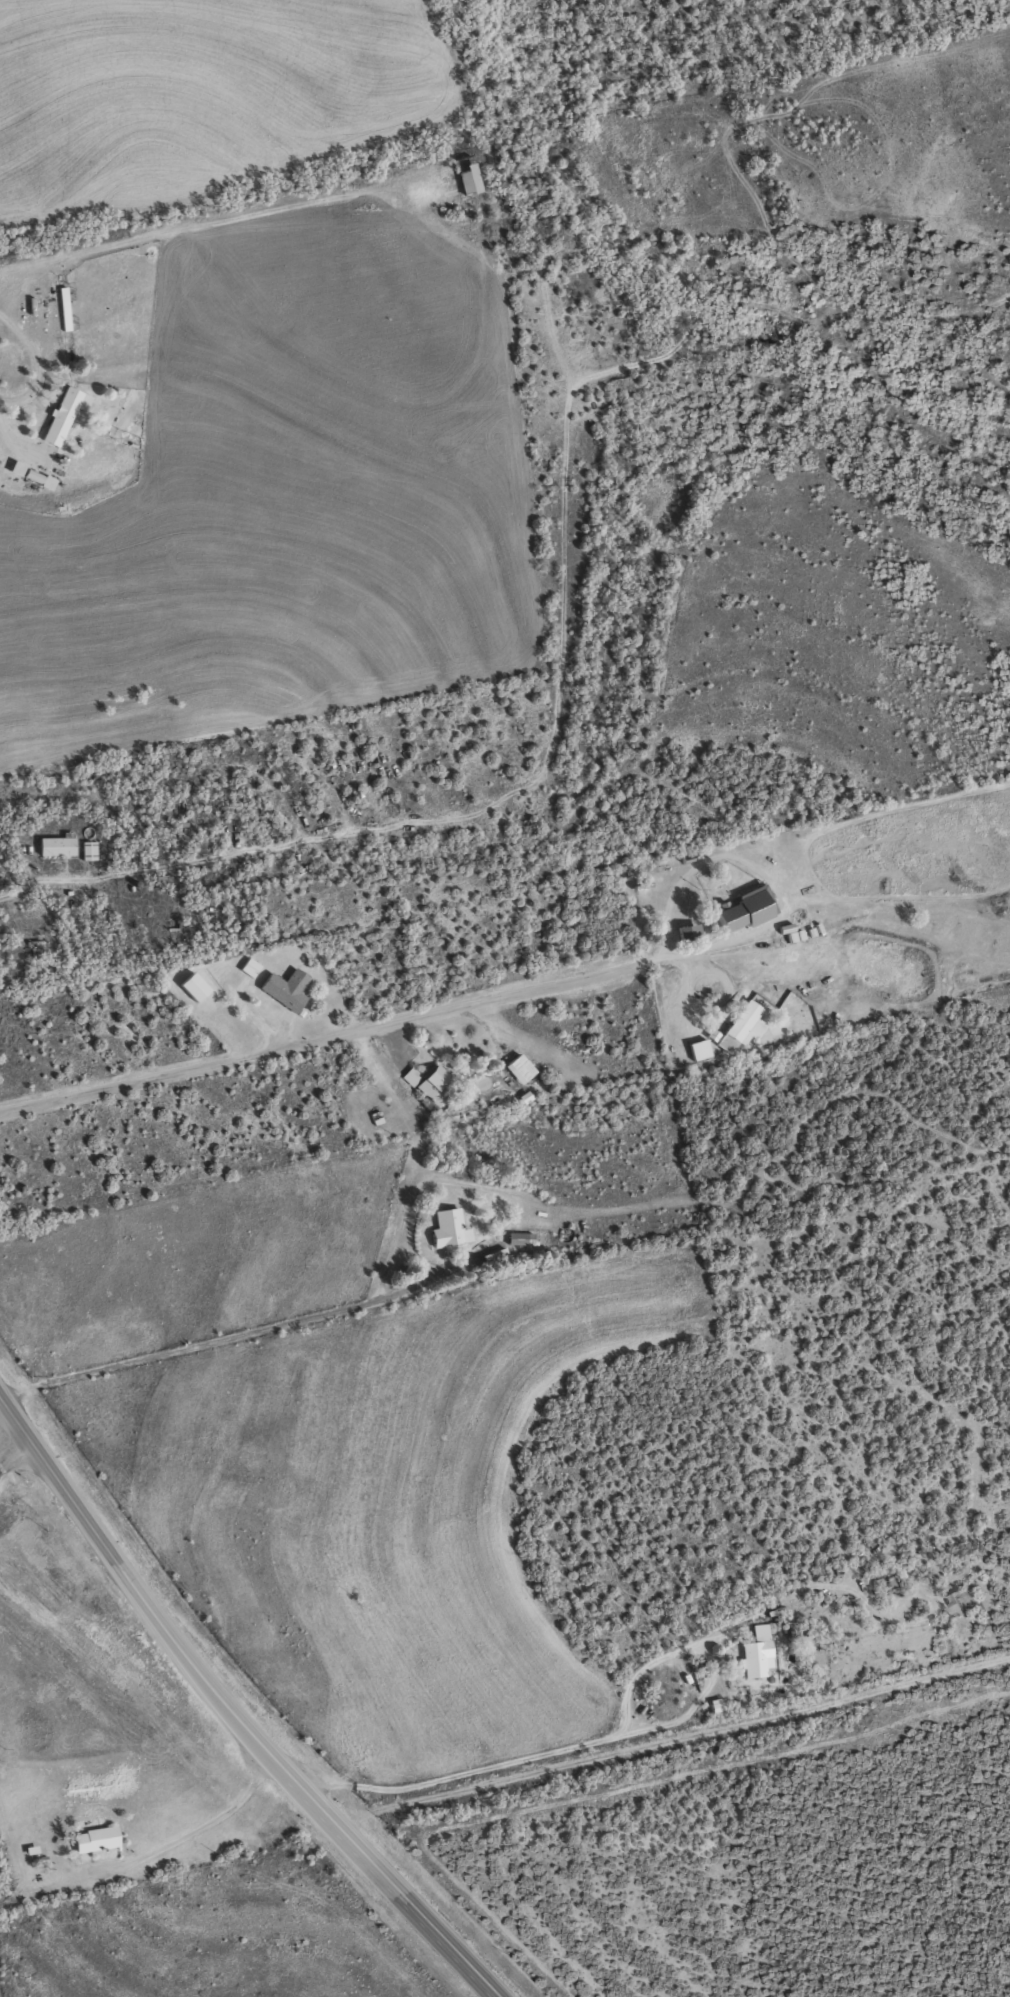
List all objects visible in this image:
building: (465, 178)
building: (66, 413)
building: (34, 475)
building: (53, 844)
building: (85, 850)
road: (759, 871)
road: (45, 878)
building: (737, 910)
building: (791, 935)
building: (246, 966)
building: (189, 986)
building: (282, 988)
building: (738, 1026)
road: (332, 1034)
building: (710, 1035)
building: (695, 1049)
building: (517, 1066)
building: (429, 1084)
road: (497, 1188)
building: (446, 1228)
building: (518, 1238)
road: (187, 1345)
road: (10, 1448)
building: (758, 1651)
building: (720, 1704)
road: (235, 1711)
road: (600, 1737)
building: (98, 1838)
road: (5, 1974)

